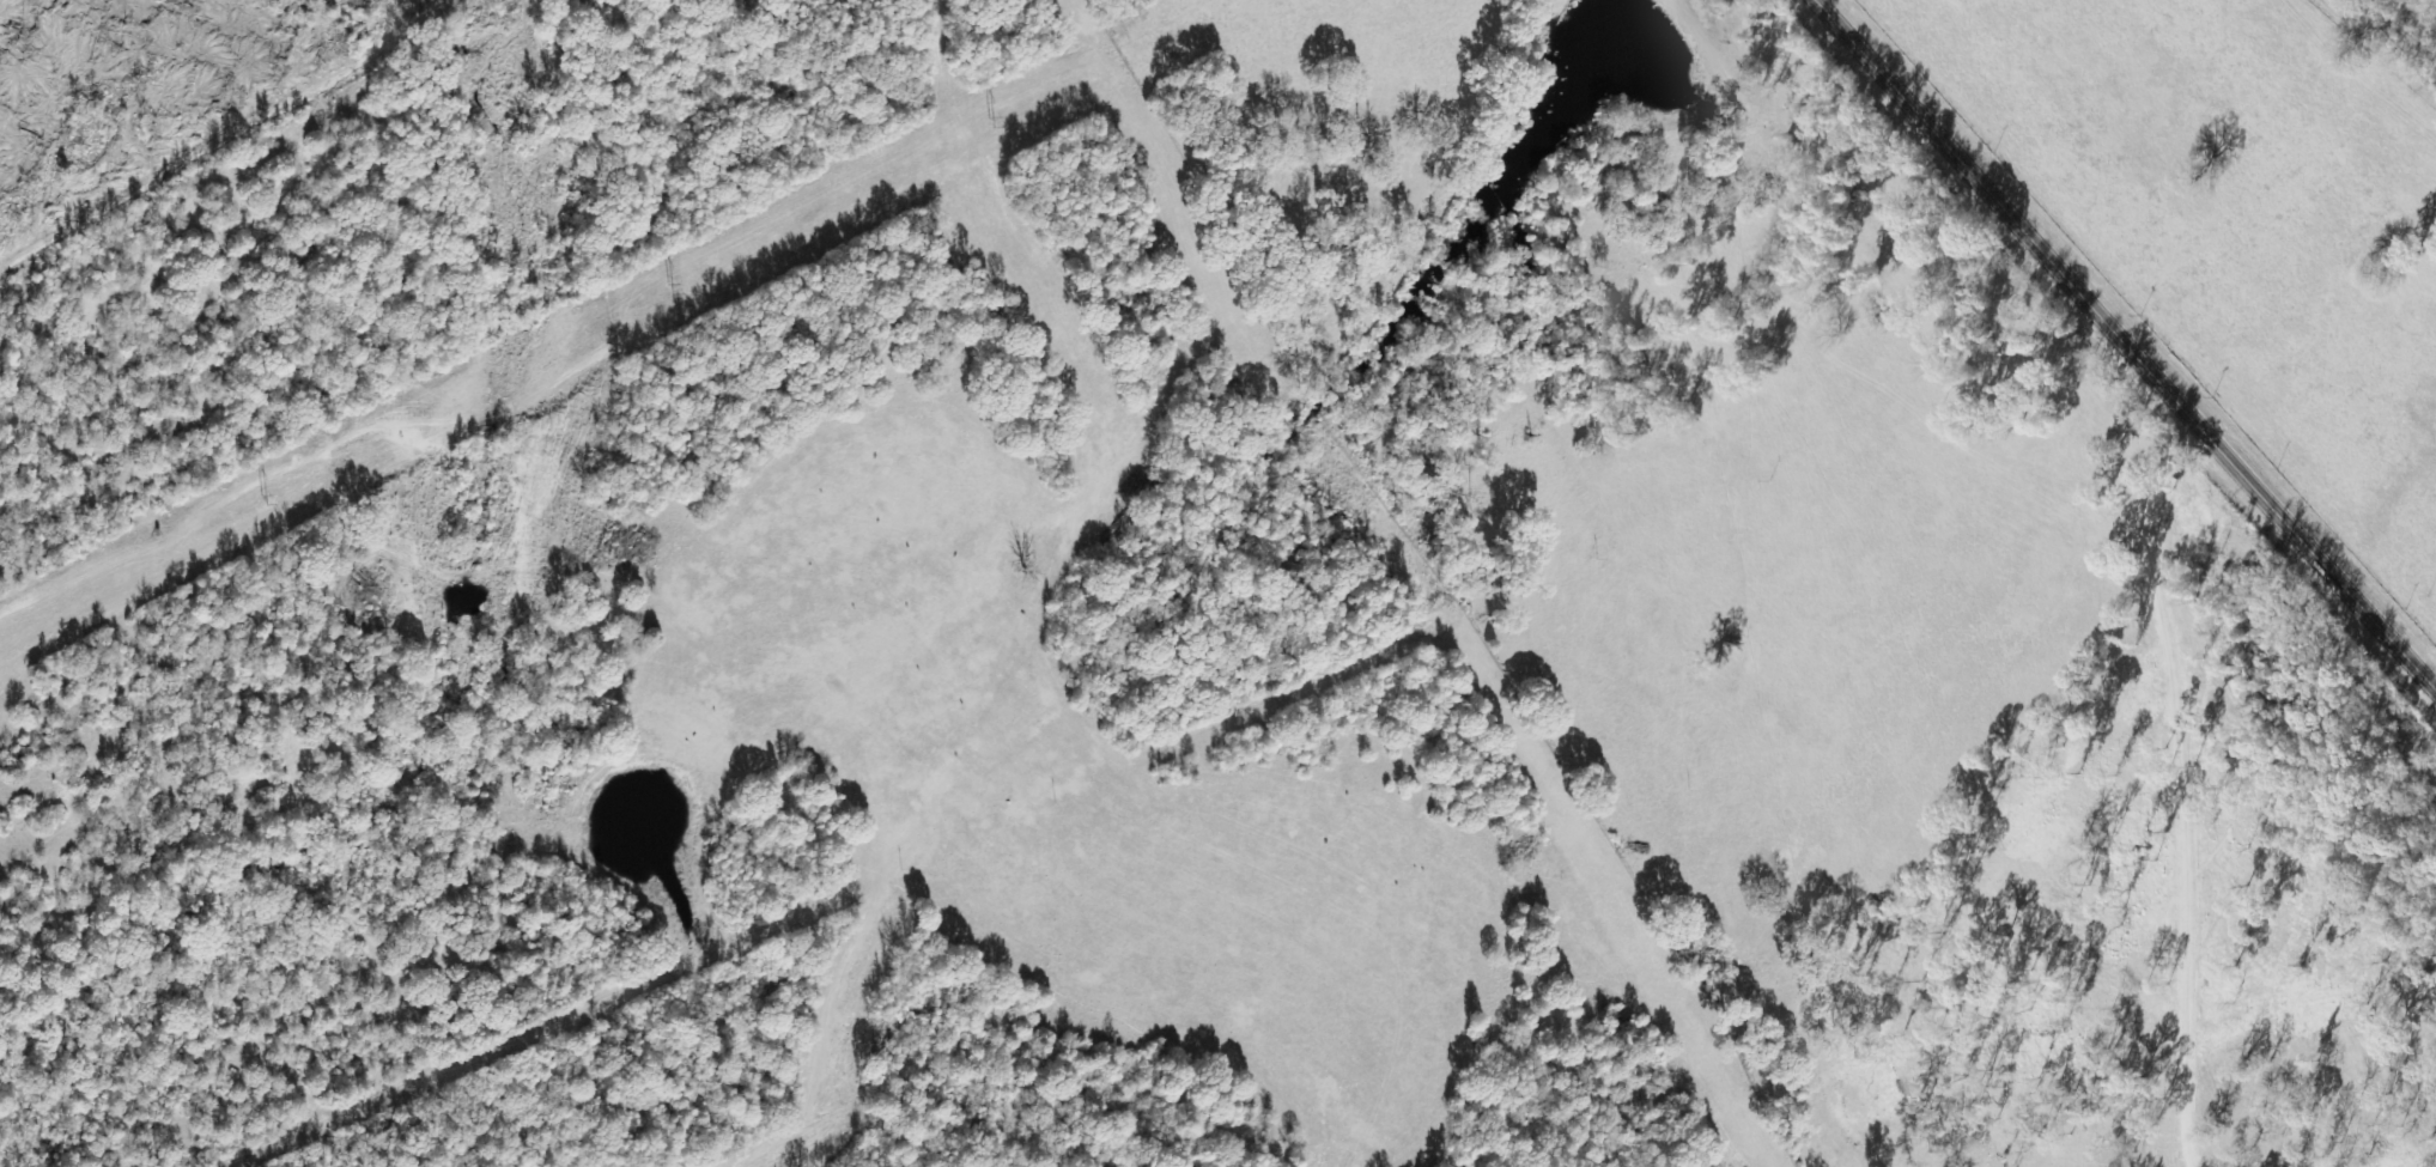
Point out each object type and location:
power tower: (986, 117)
power tower: (667, 285)
road: (2124, 346)
power tower: (263, 497)

